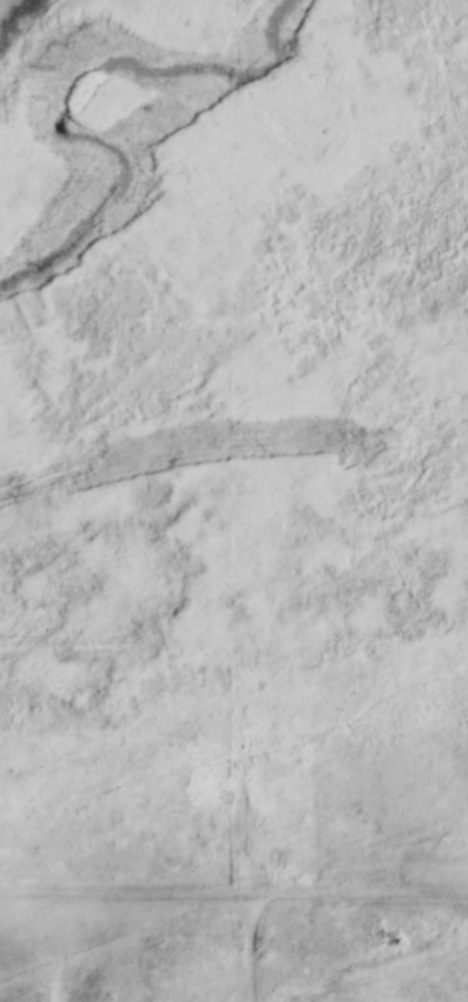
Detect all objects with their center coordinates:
river: (105, 104)
road: (234, 893)
road: (304, 952)

